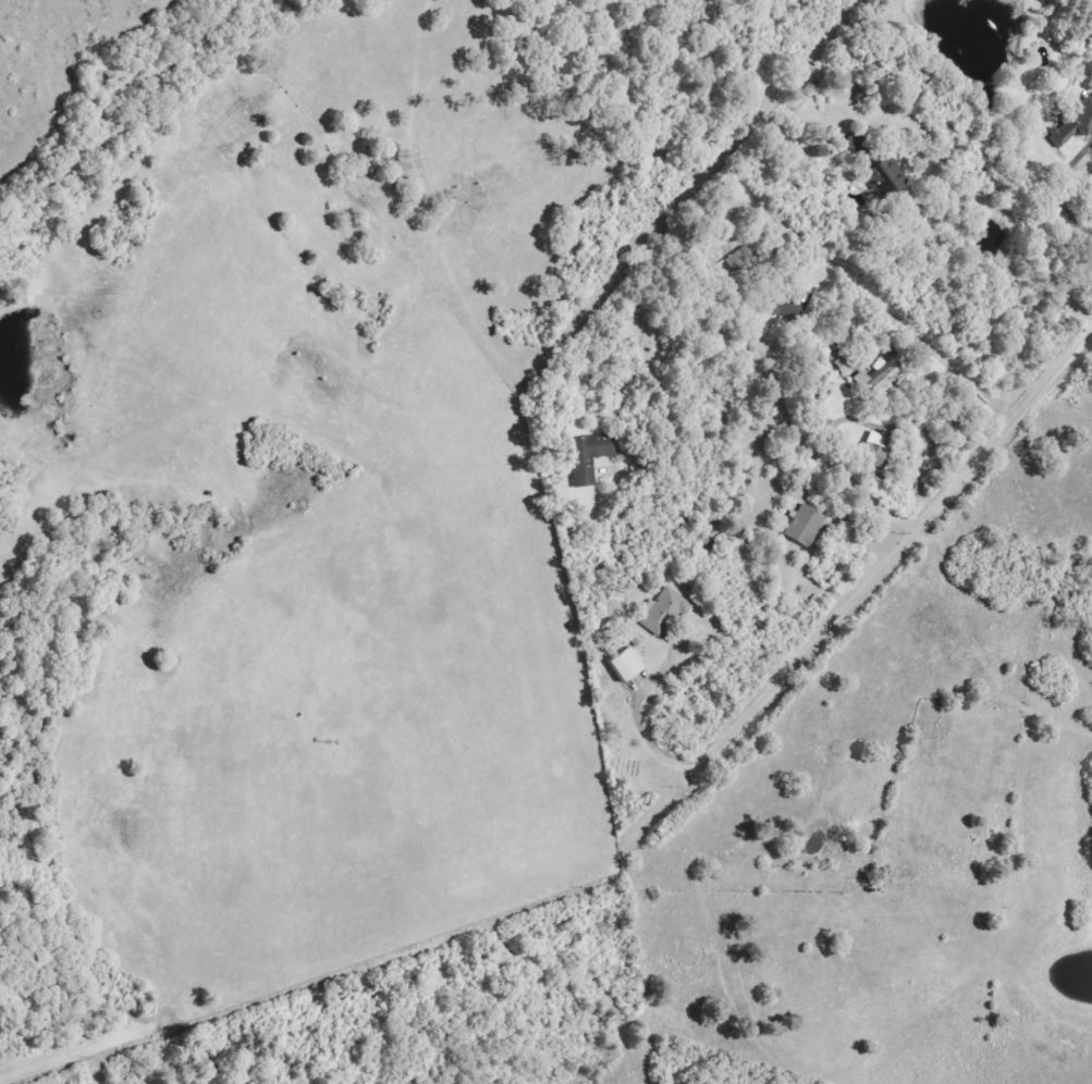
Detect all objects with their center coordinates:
building: (1075, 126)
building: (859, 146)
building: (887, 180)
road: (1055, 189)
road: (1028, 238)
building: (741, 260)
building: (880, 379)
building: (878, 452)
building: (591, 458)
road: (831, 464)
road: (945, 502)
building: (807, 527)
building: (666, 613)
building: (629, 667)
road: (645, 726)

